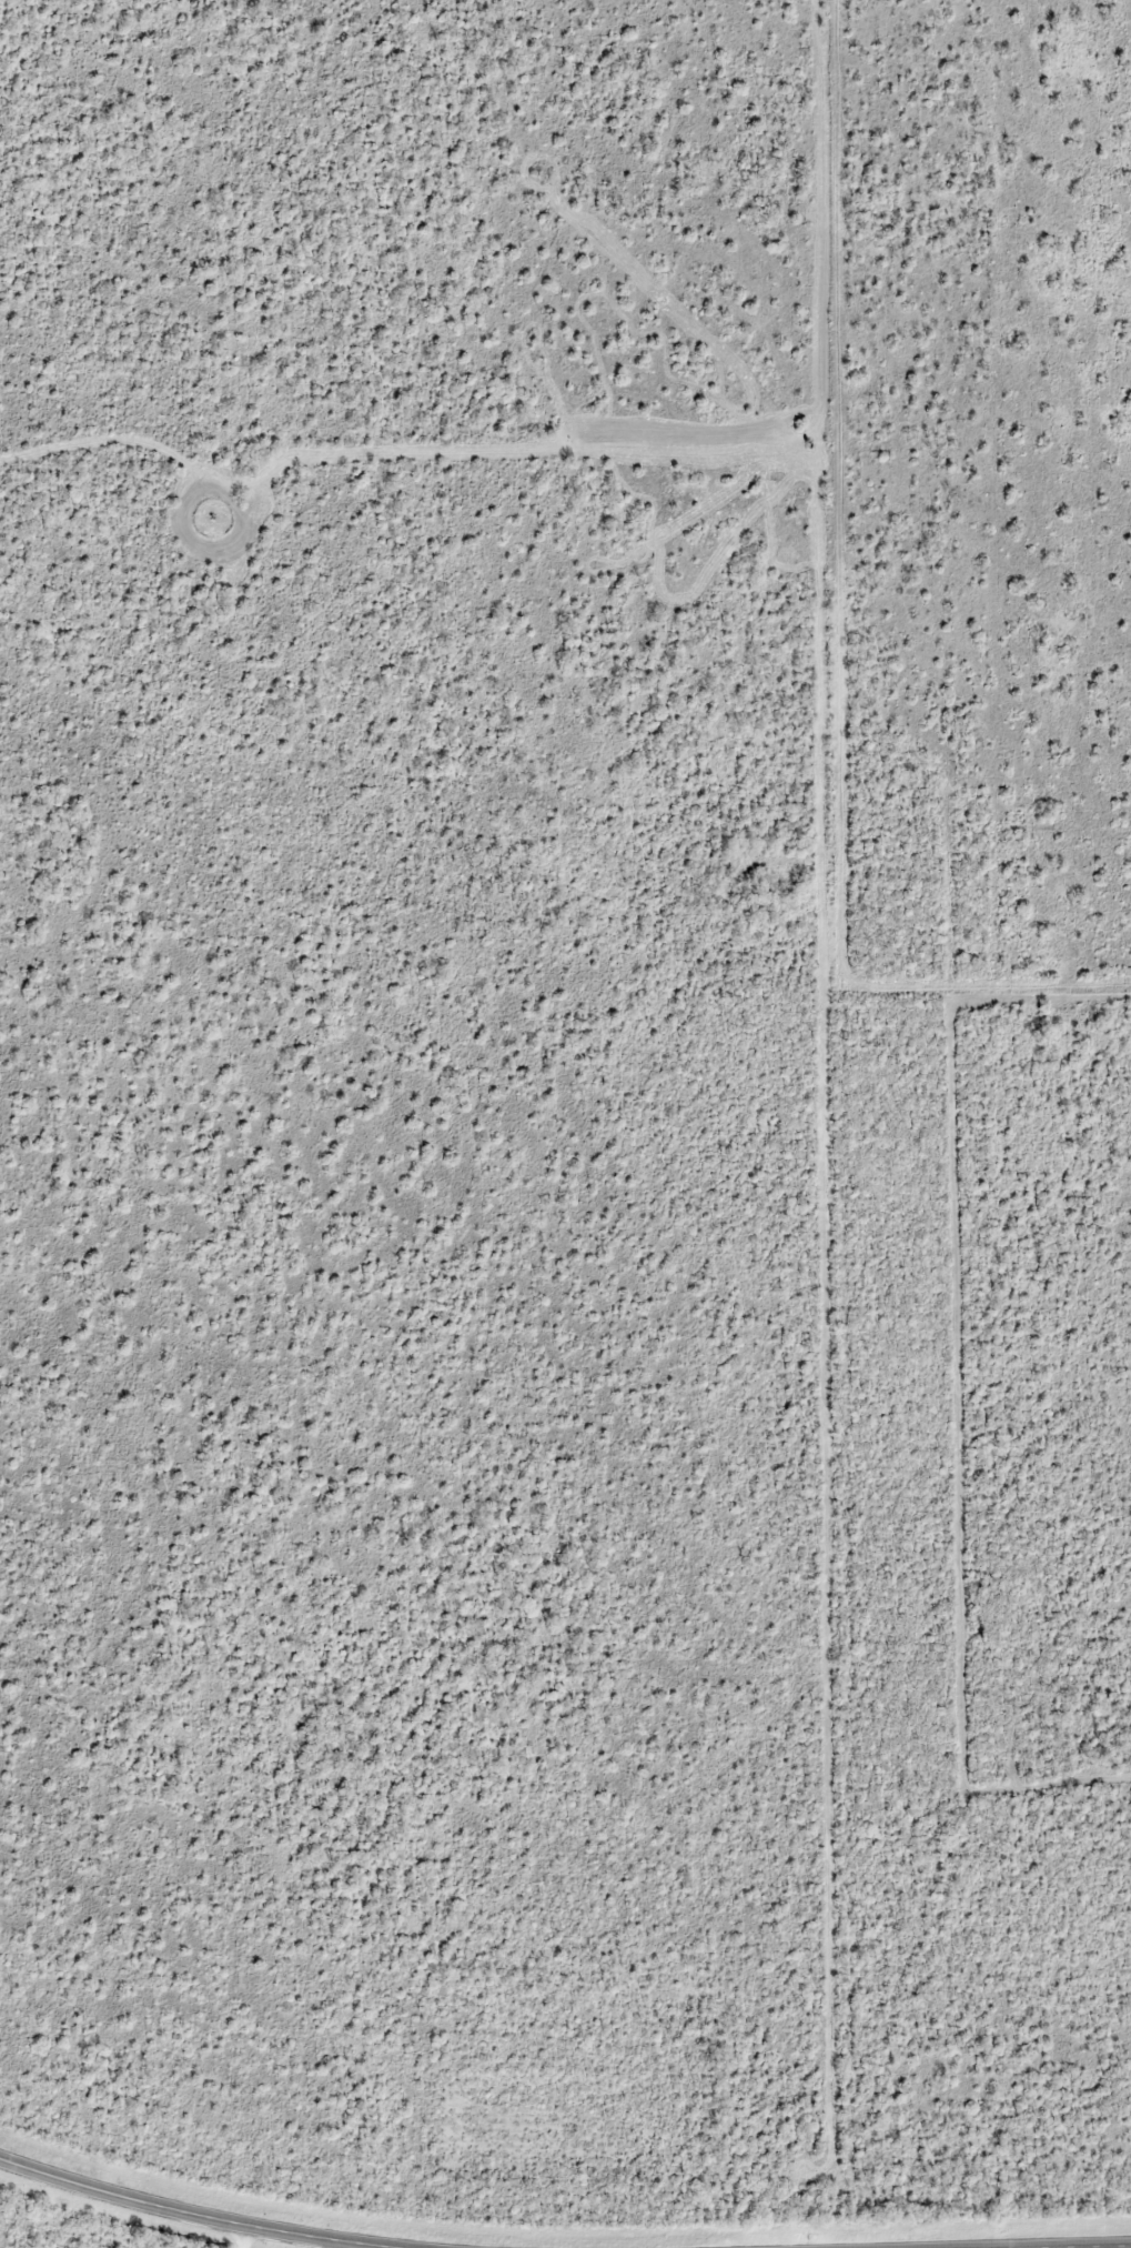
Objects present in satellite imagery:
road: (200, 2214)
road: (1066, 2246)
road: (382, 2247)

